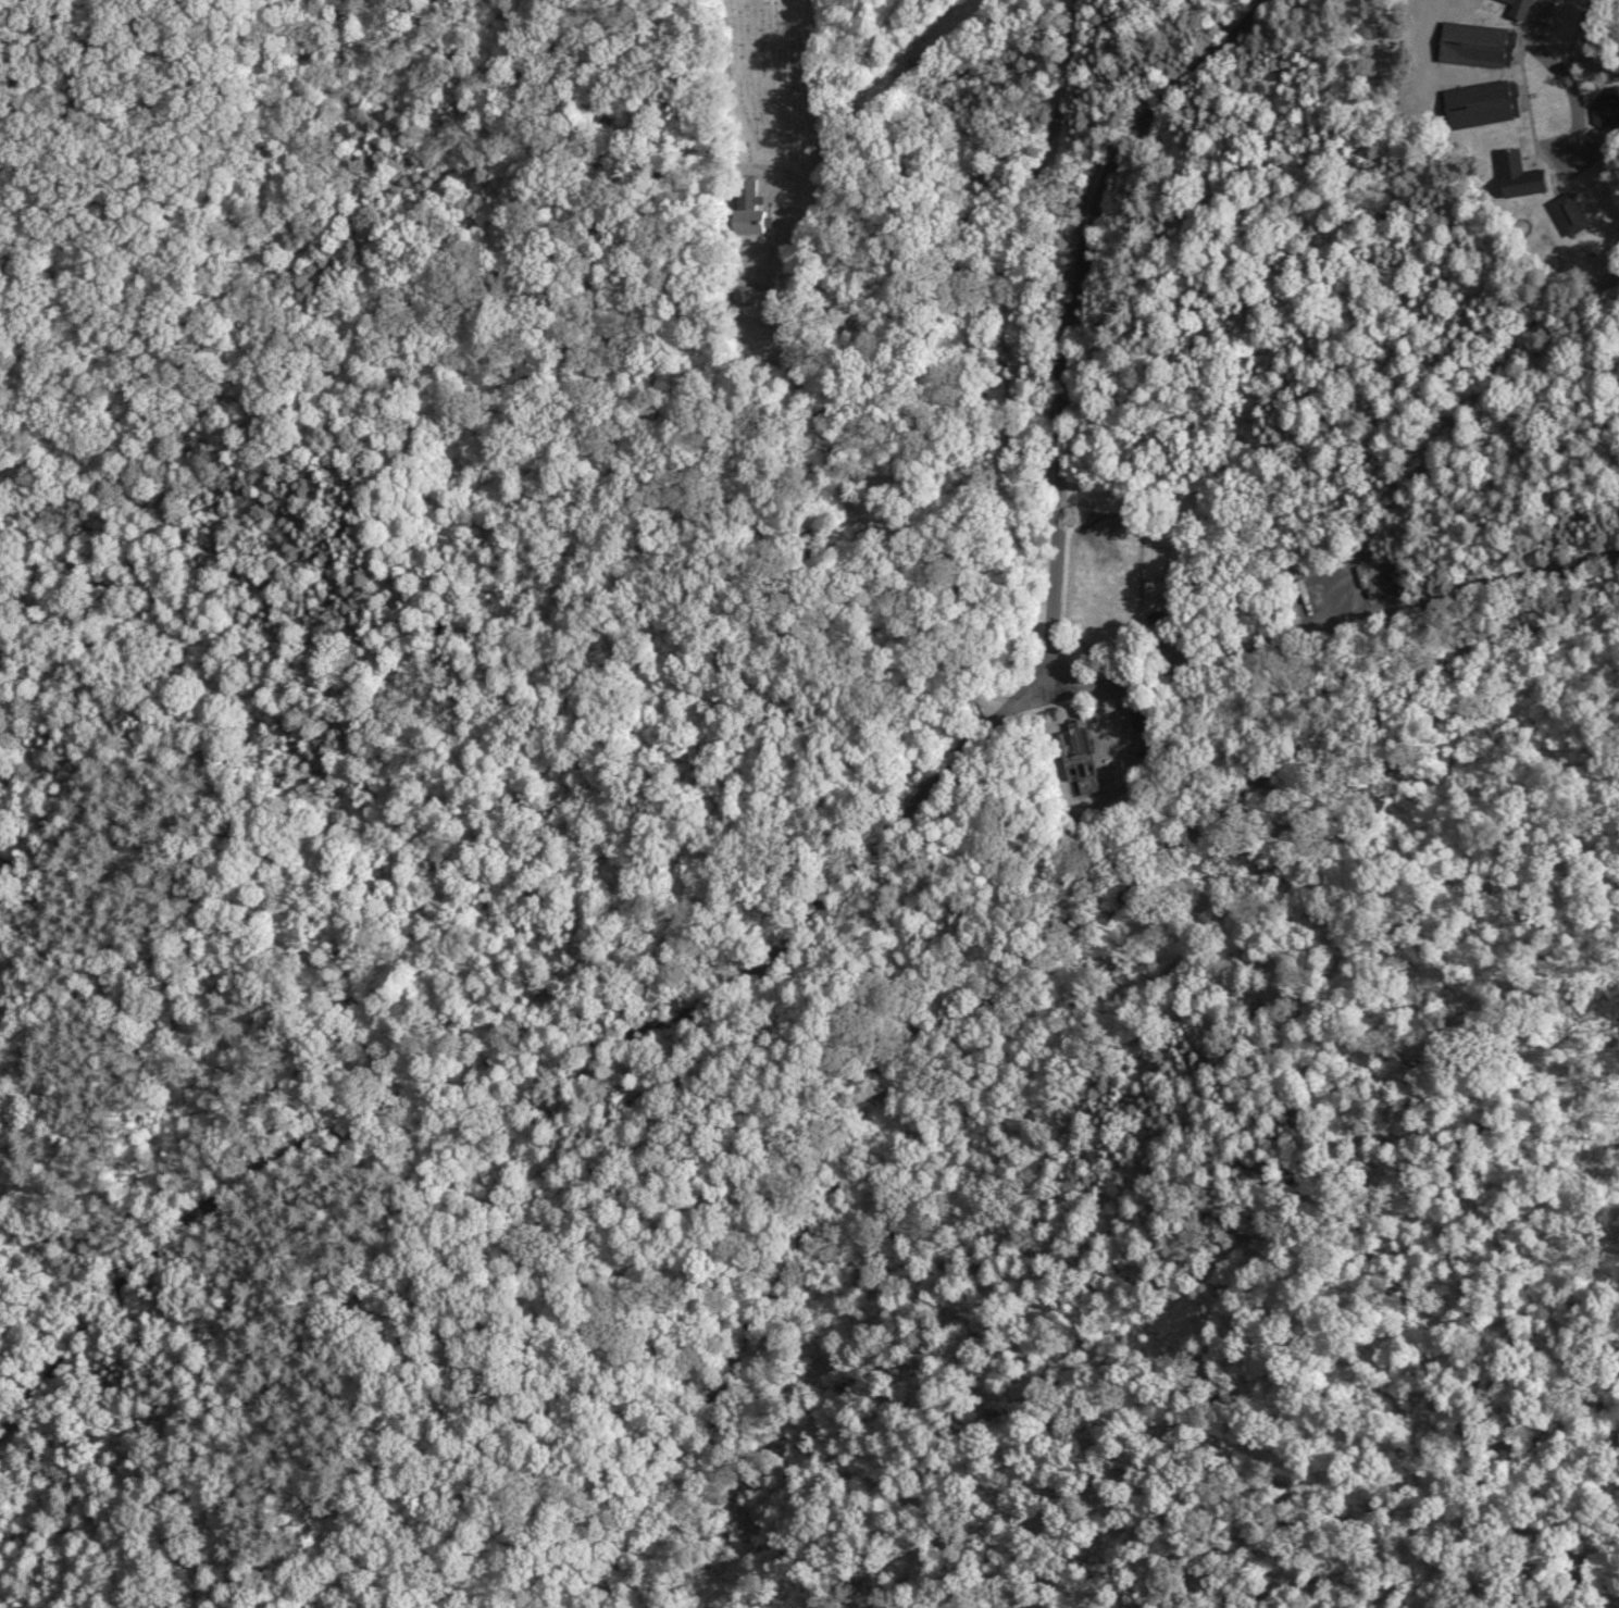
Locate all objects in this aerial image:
building: (1518, 10)
parking lot: (1532, 13)
road: (1175, 24)
road: (71, 34)
road: (28, 36)
building: (1470, 46)
road: (1561, 77)
building: (1475, 105)
building: (1605, 112)
building: (1516, 176)
road: (1411, 204)
building: (745, 210)
building: (1567, 214)
building: (746, 295)
road: (983, 341)
road: (835, 470)
road: (484, 554)
road: (1329, 595)
park: (634, 641)
building: (1143, 719)
building: (1078, 757)
road: (846, 880)

